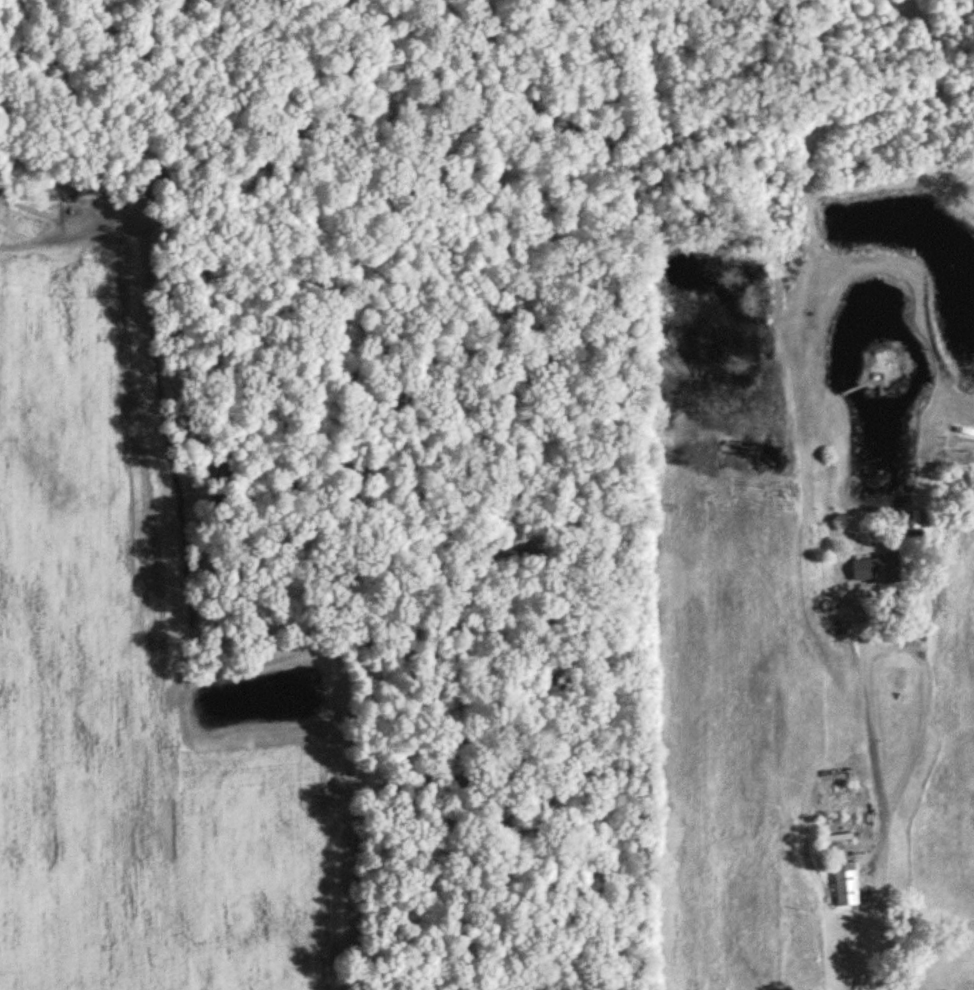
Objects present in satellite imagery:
building: (873, 570)
road: (867, 801)
building: (846, 887)

